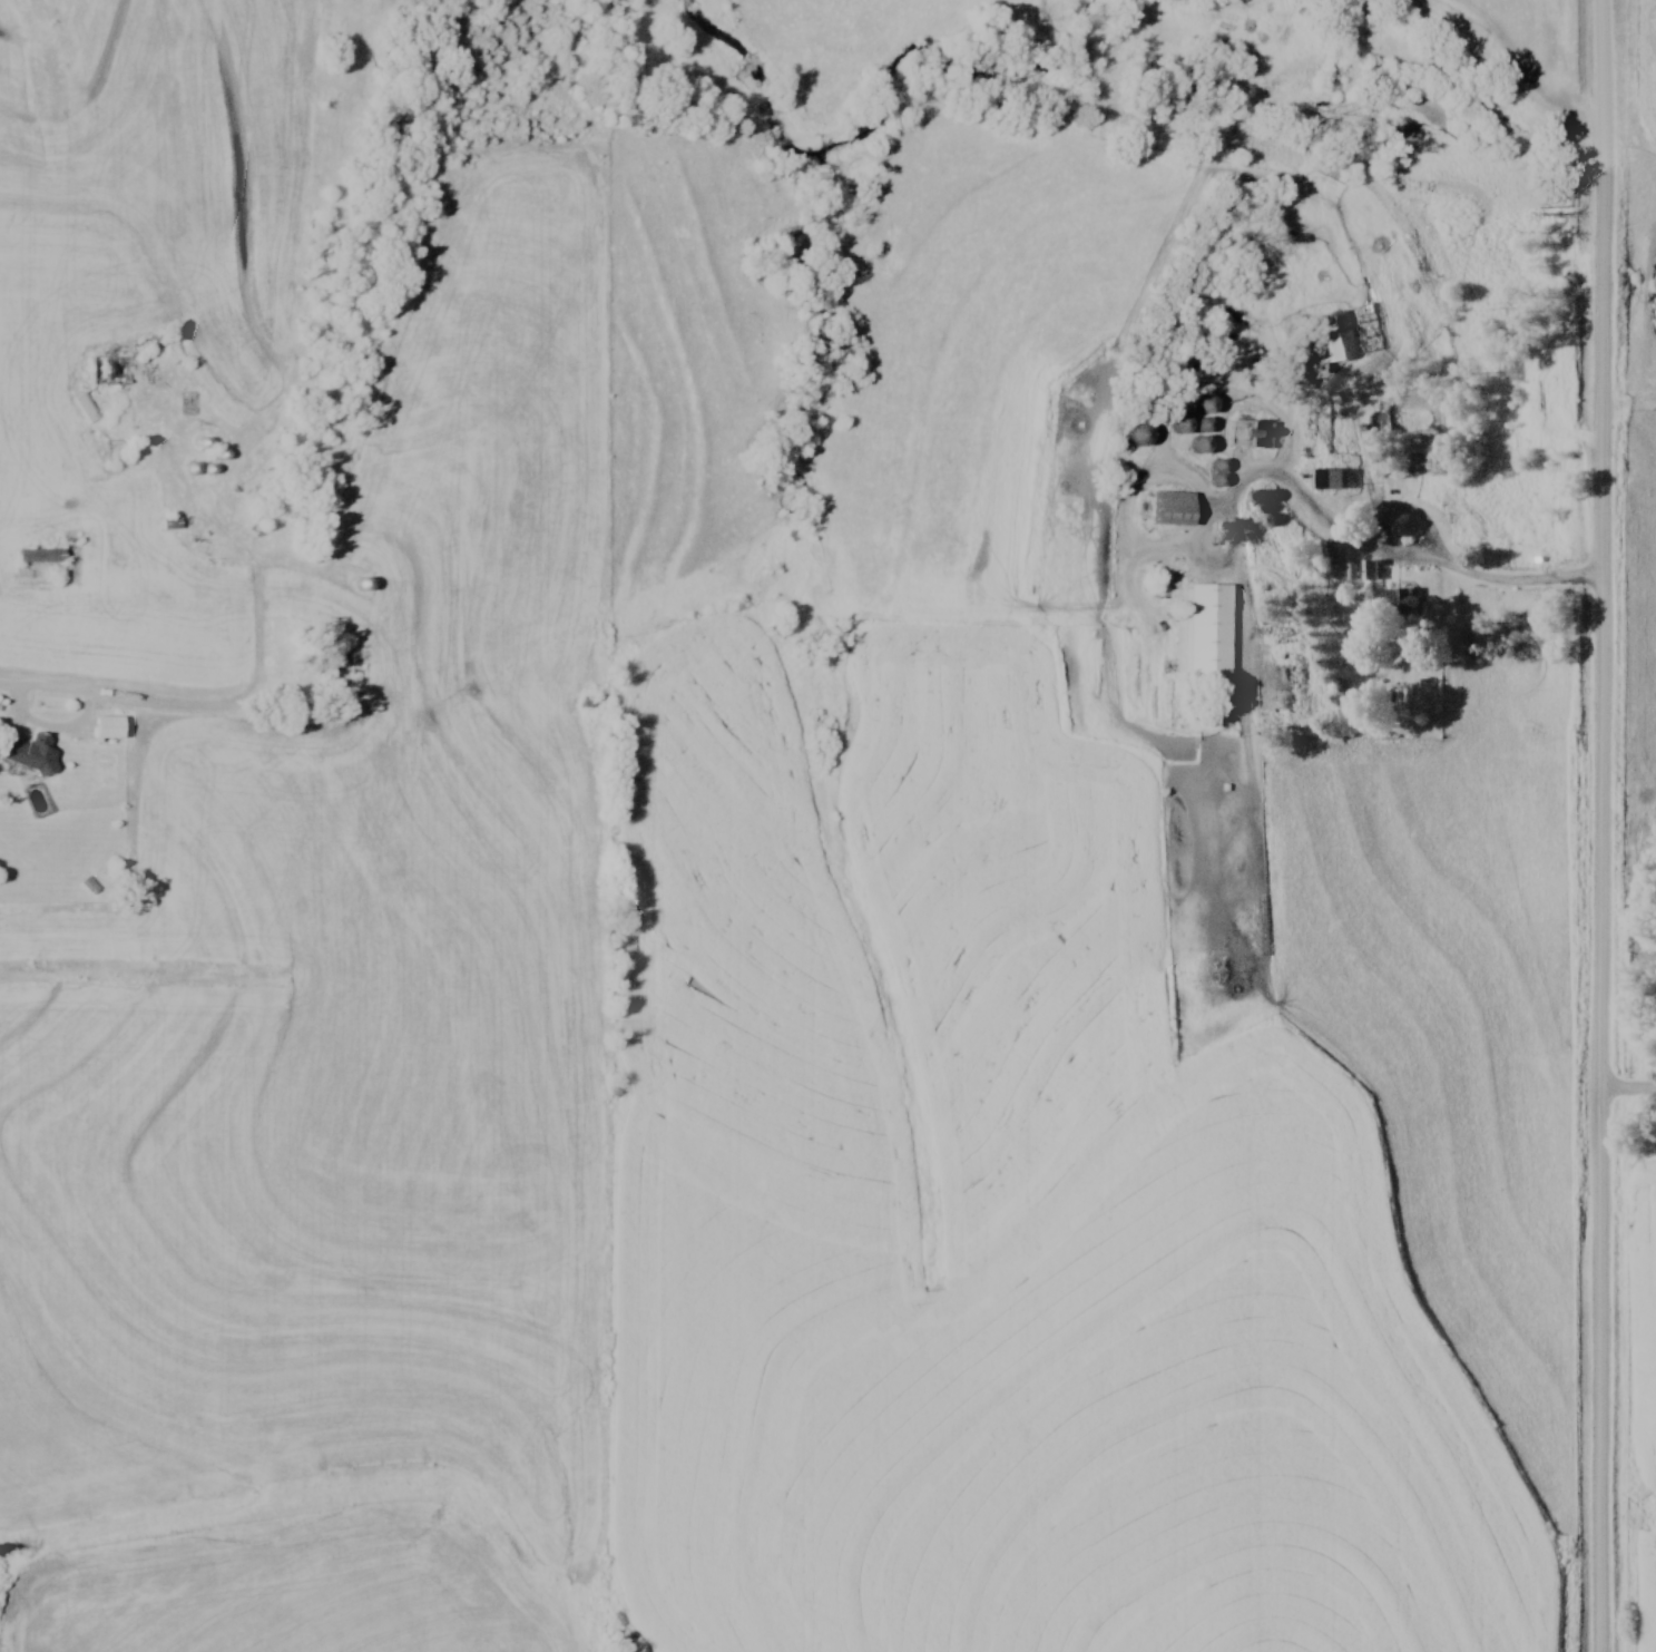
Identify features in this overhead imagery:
building: (1262, 304)
building: (1331, 338)
building: (110, 371)
building: (1143, 434)
road: (1263, 471)
building: (1334, 479)
building: (170, 522)
road: (1381, 537)
building: (41, 555)
building: (1371, 570)
road: (1528, 586)
building: (1402, 596)
building: (1211, 634)
building: (344, 662)
road: (258, 671)
building: (110, 726)
road: (52, 729)
building: (29, 752)
road: (1604, 825)
building: (88, 884)
road: (1629, 1091)

